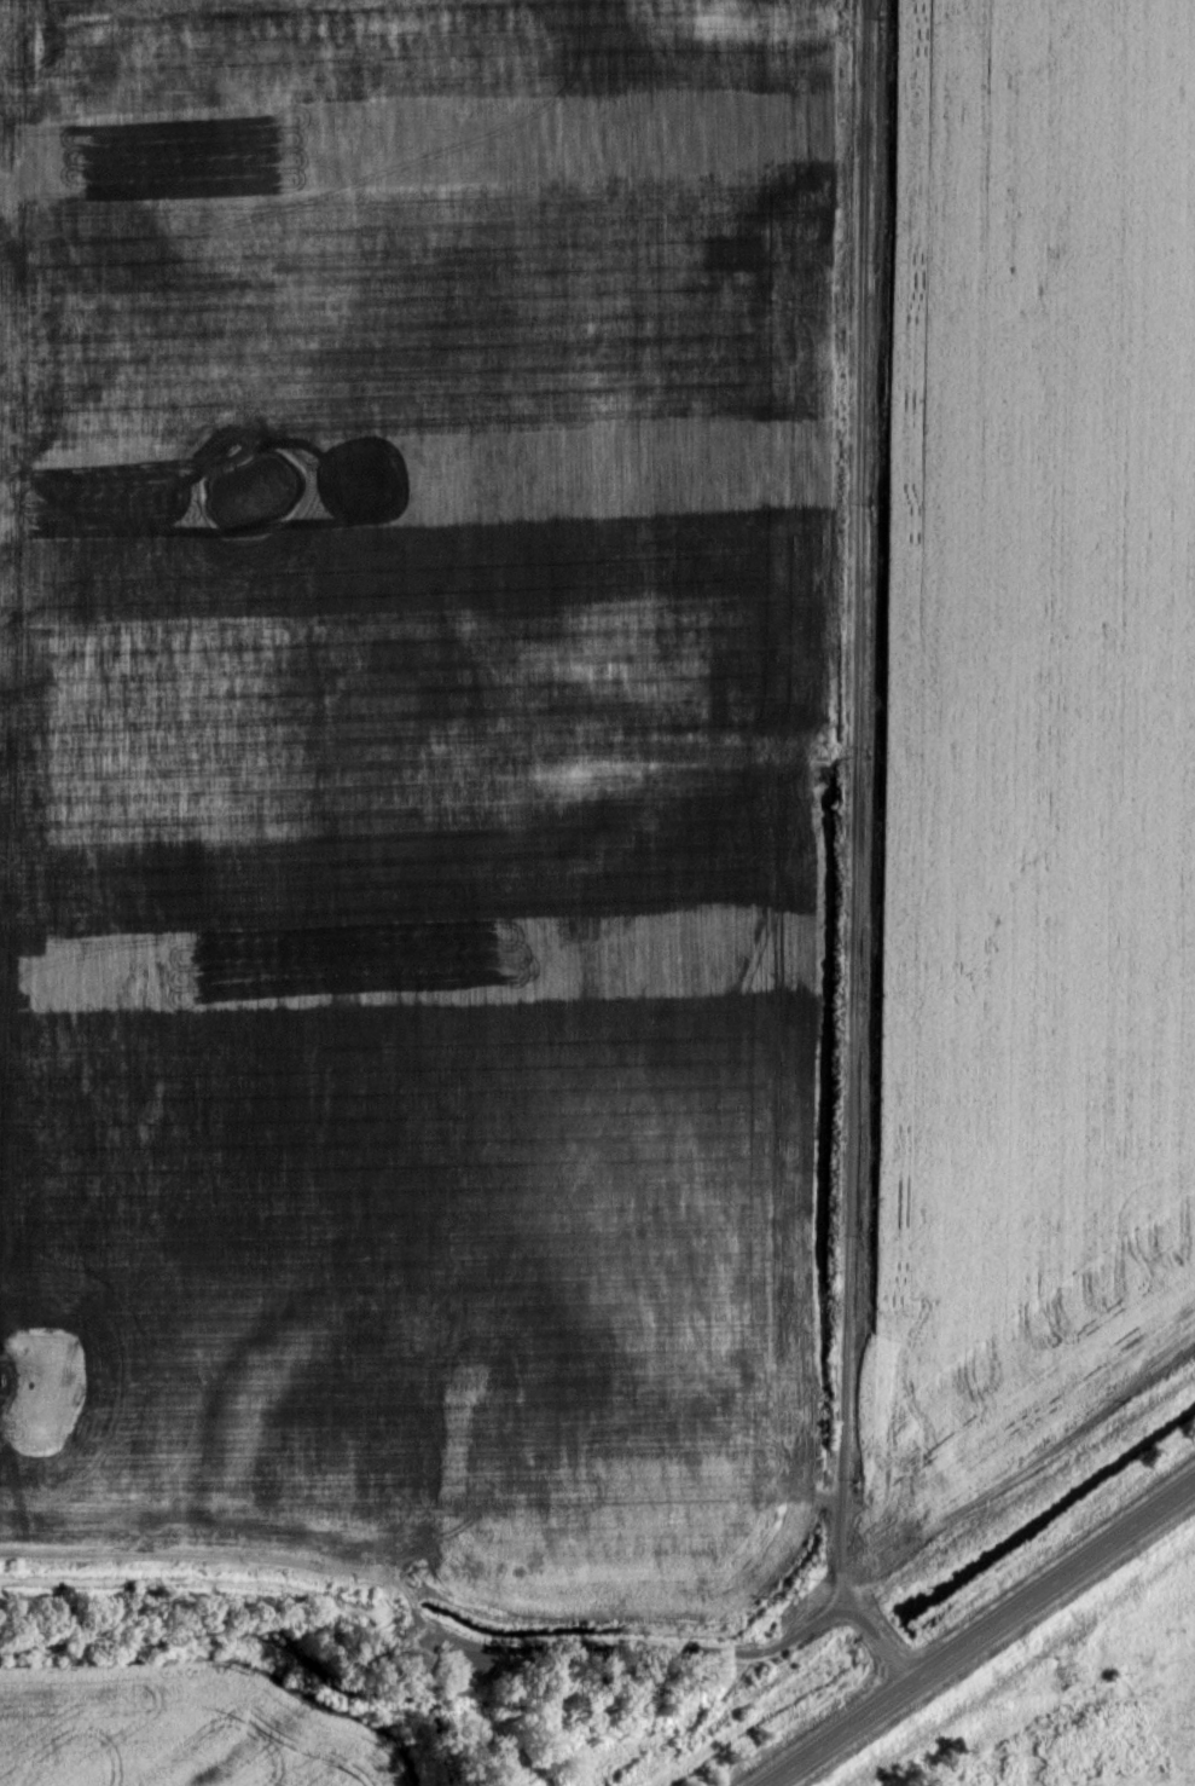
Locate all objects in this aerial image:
road: (852, 900)
road: (1005, 1652)
building: (488, 1664)

